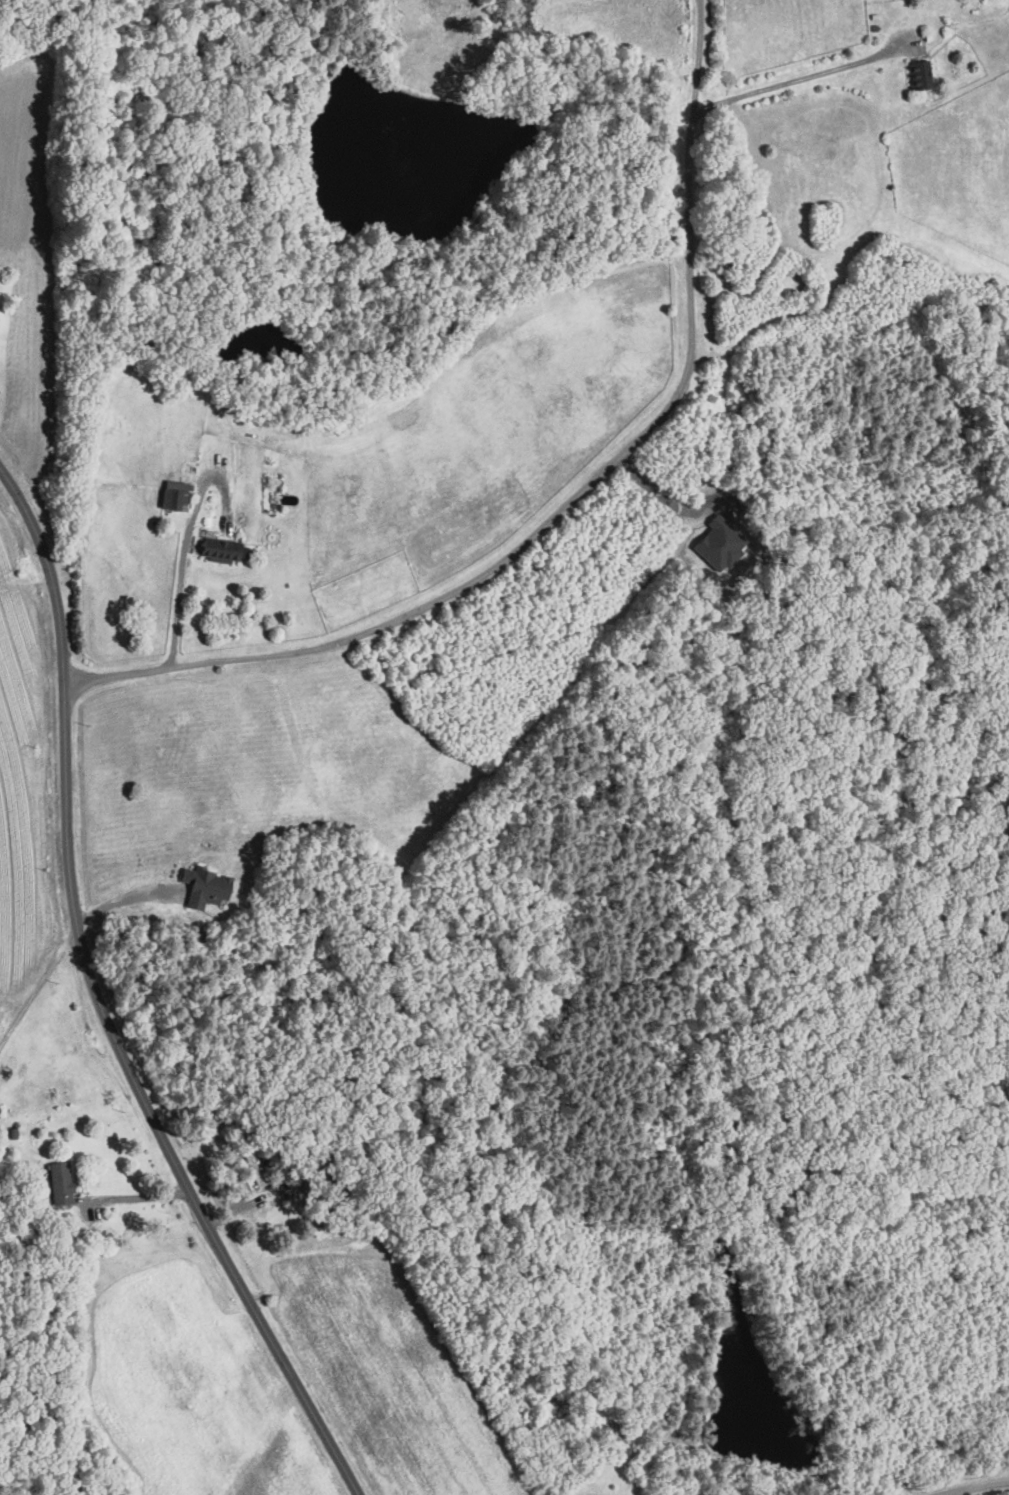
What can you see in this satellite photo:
road: (695, 0)
building: (918, 74)
road: (797, 77)
building: (171, 493)
road: (568, 500)
road: (662, 505)
road: (185, 545)
building: (219, 547)
building: (203, 886)
road: (125, 897)
road: (37, 982)
road: (100, 1005)
building: (58, 1183)
road: (135, 1195)
road: (979, 1485)

